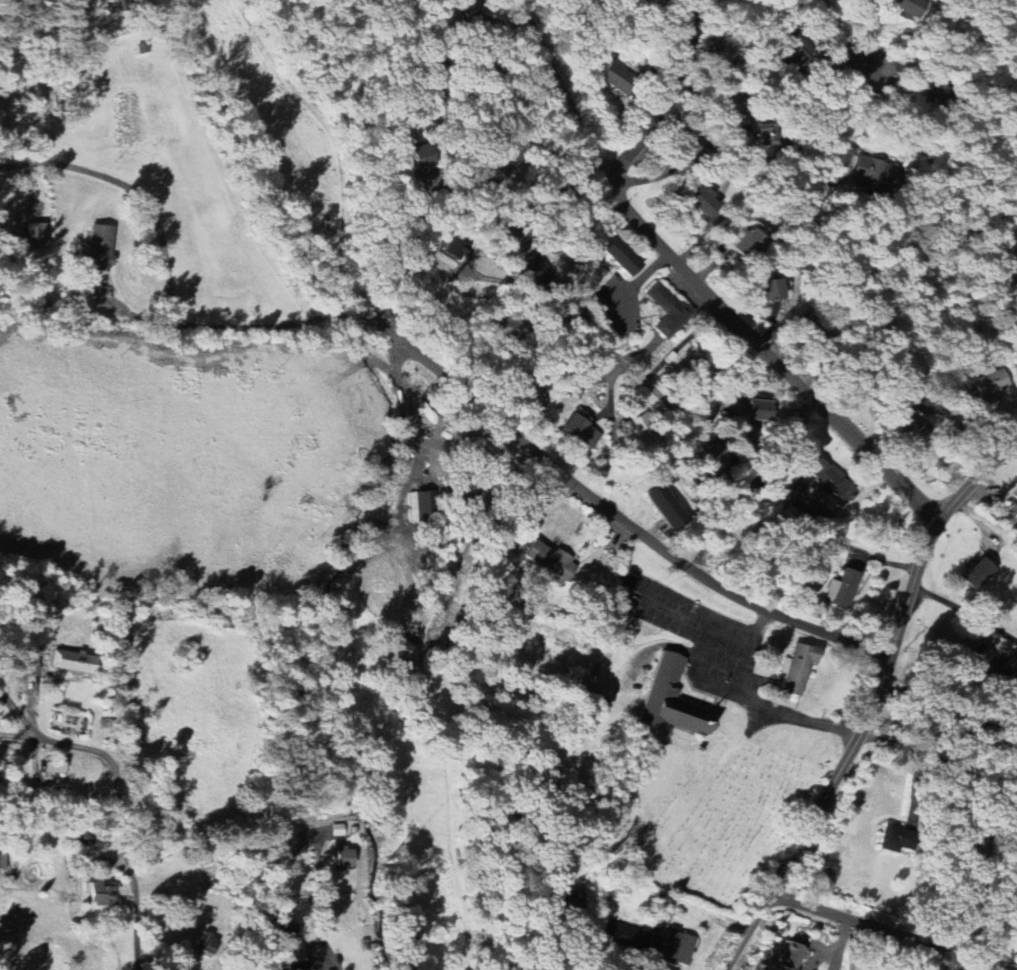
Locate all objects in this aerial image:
building: (124, 1)
building: (467, 6)
building: (907, 6)
road: (844, 39)
building: (723, 48)
building: (793, 48)
building: (617, 78)
road: (663, 98)
building: (736, 105)
road: (840, 106)
building: (762, 130)
building: (420, 155)
building: (870, 173)
road: (512, 190)
building: (702, 200)
building: (35, 235)
building: (746, 241)
building: (101, 248)
building: (454, 248)
building: (622, 257)
building: (536, 269)
road: (695, 283)
building: (1016, 287)
building: (770, 289)
road: (519, 297)
building: (668, 309)
road: (622, 360)
road: (427, 362)
building: (991, 386)
building: (536, 396)
building: (760, 410)
building: (911, 423)
road: (956, 425)
building: (644, 430)
building: (583, 432)
building: (715, 458)
building: (830, 478)
building: (1015, 497)
building: (669, 506)
building: (551, 562)
building: (979, 573)
building: (843, 588)
road: (964, 610)
road: (673, 626)
building: (405, 650)
building: (74, 661)
building: (991, 662)
building: (798, 668)
building: (666, 697)
road: (873, 701)
road: (20, 712)
road: (20, 734)
road: (914, 756)
building: (55, 767)
park: (725, 820)
road: (120, 827)
building: (895, 838)
building: (345, 858)
building: (2, 861)
building: (283, 861)
building: (103, 894)
building: (566, 899)
road: (319, 930)
road: (891, 932)
building: (288, 933)
building: (630, 938)
building: (209, 943)
road: (841, 944)
building: (678, 947)
building: (791, 955)
building: (299, 966)
road: (585, 966)

